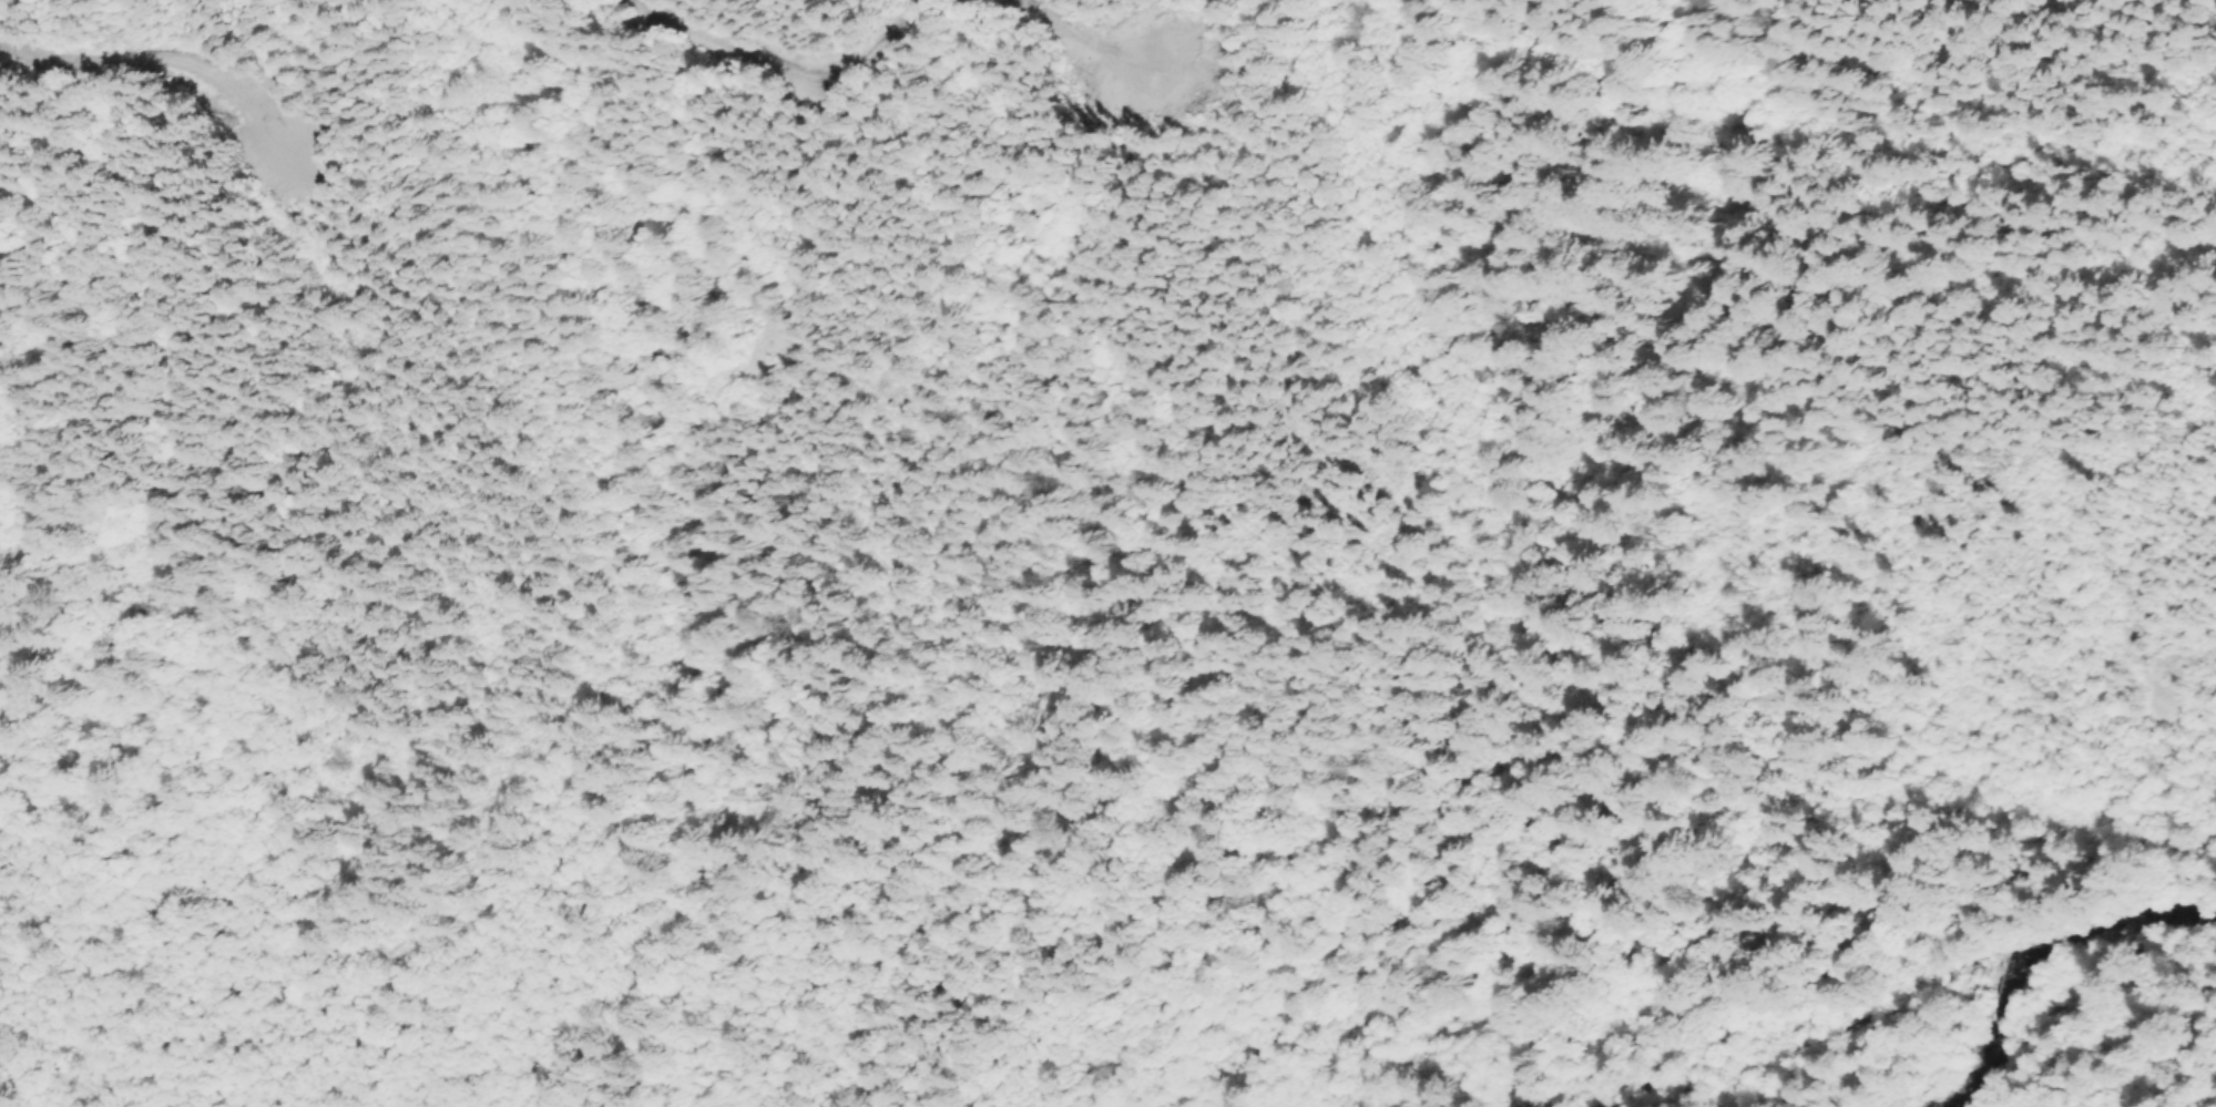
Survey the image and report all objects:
road: (1131, 17)
road: (1207, 18)
road: (784, 57)
road: (165, 59)
road: (2047, 105)
road: (1828, 135)

